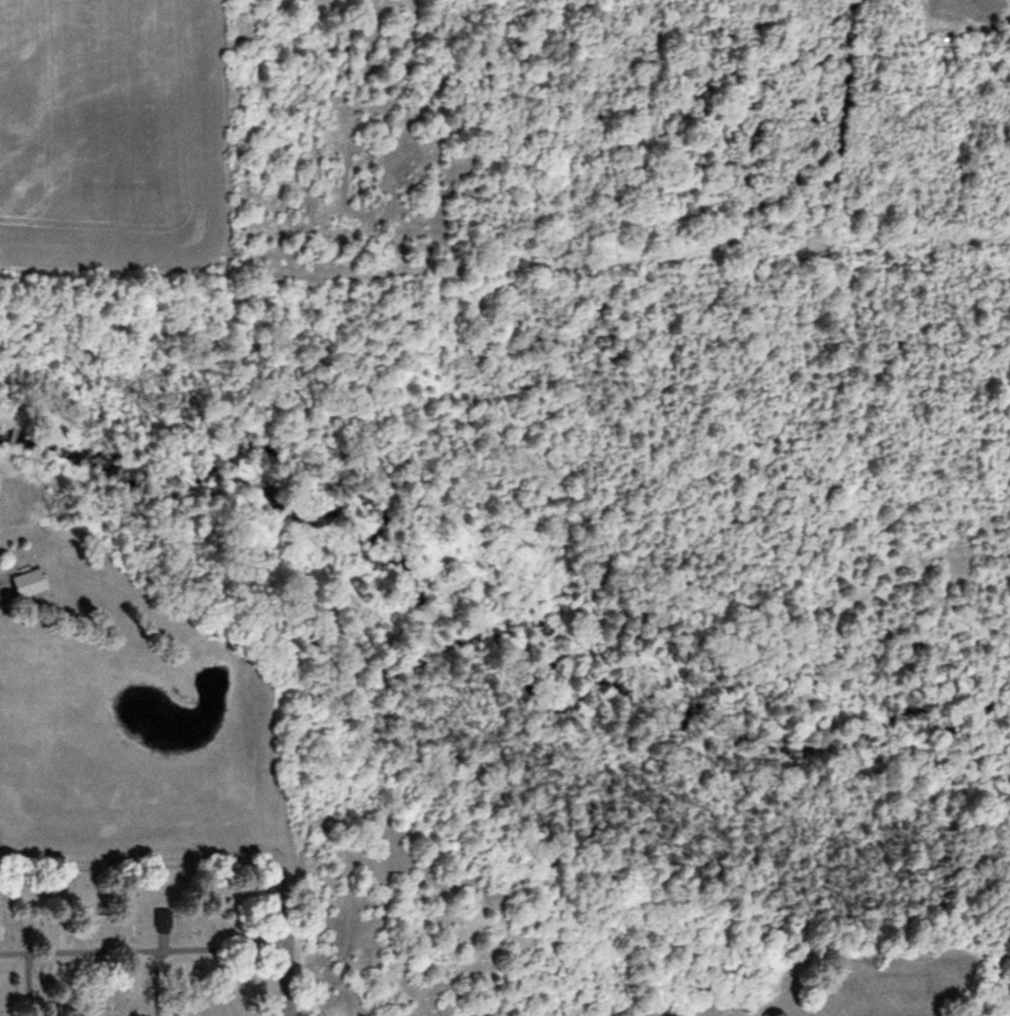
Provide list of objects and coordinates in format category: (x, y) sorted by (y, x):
building: (40, 582)
road: (136, 853)
building: (169, 921)
road: (278, 940)
park: (136, 941)
building: (881, 997)

